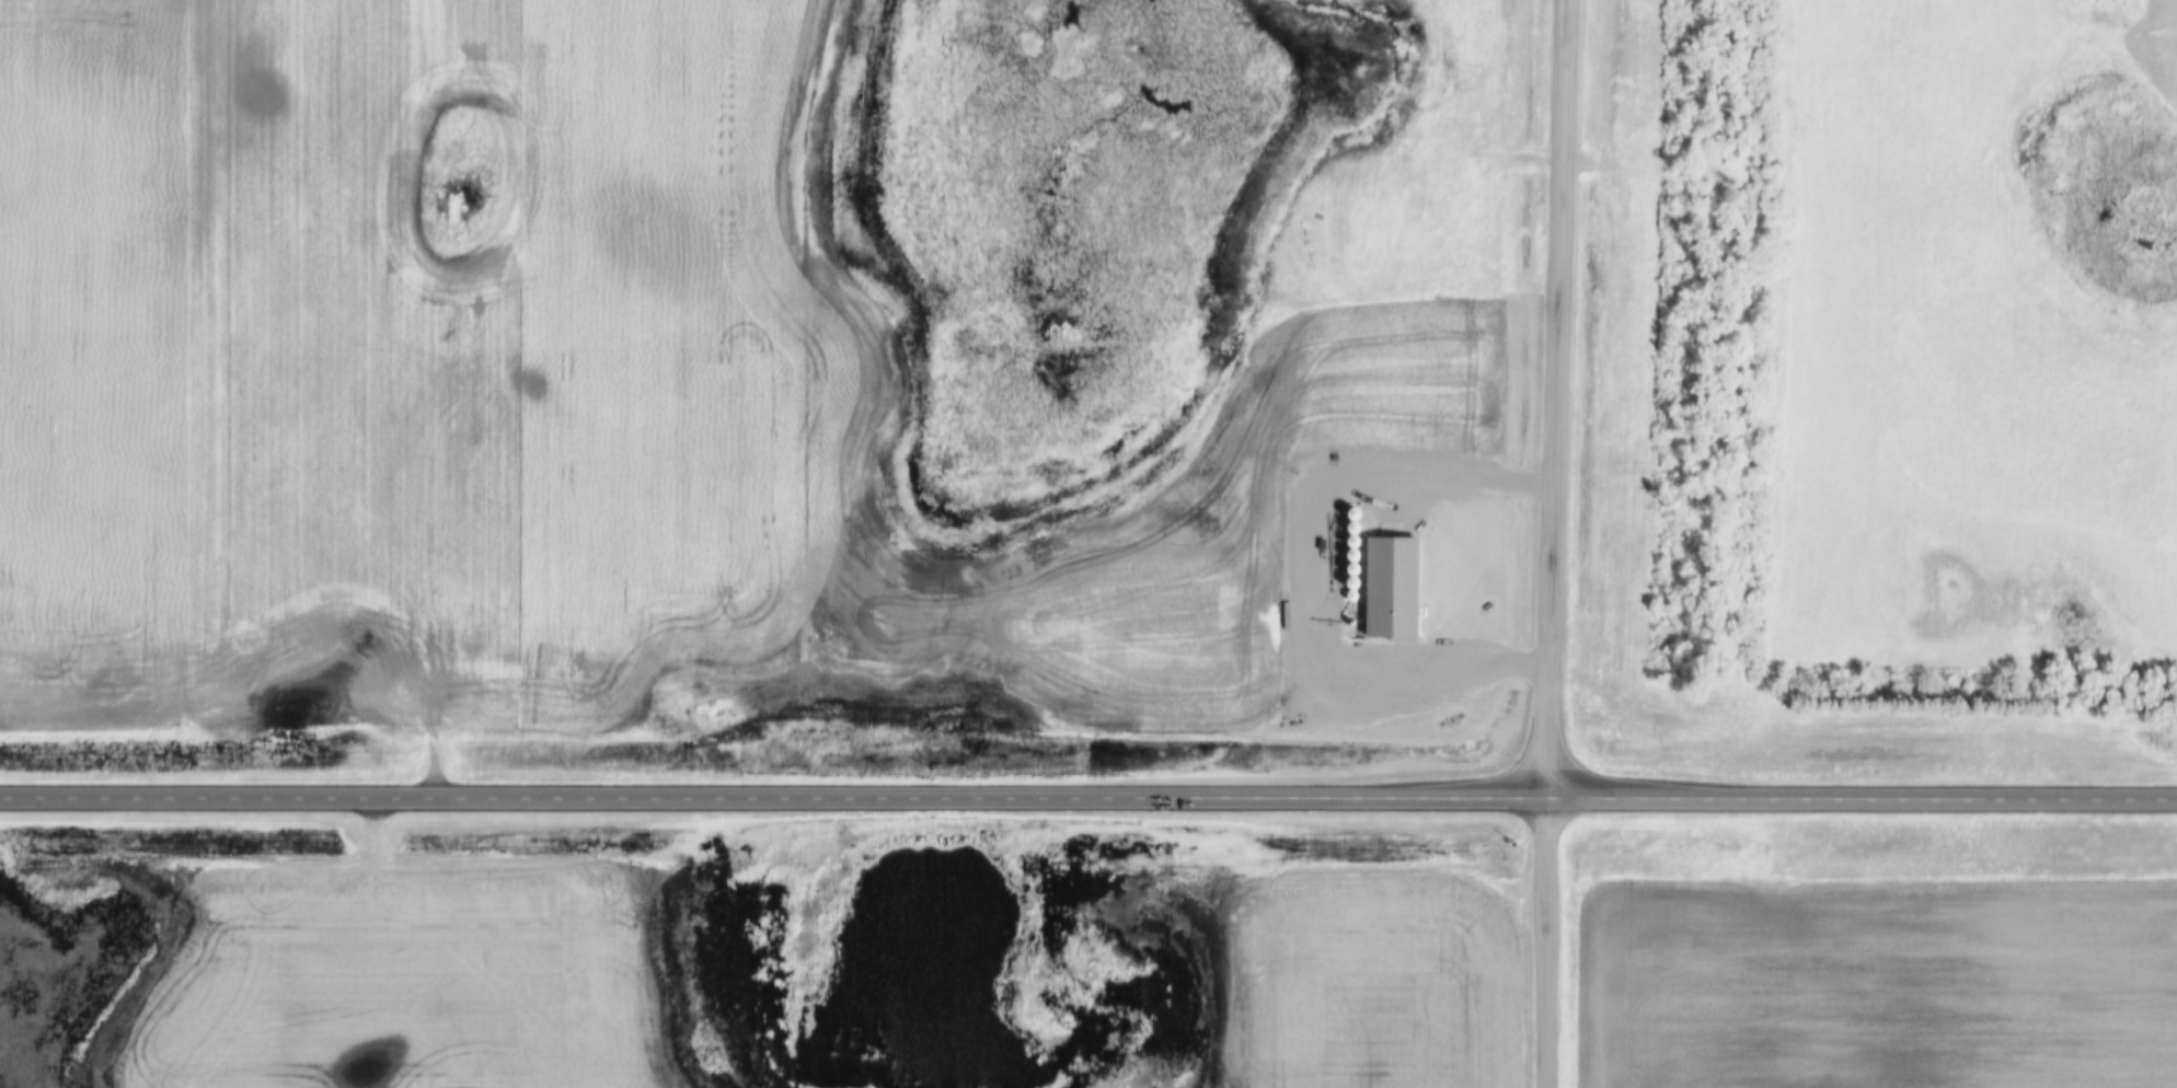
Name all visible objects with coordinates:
road: (1554, 401)
building: (1379, 591)
road: (1087, 800)
road: (1546, 945)

